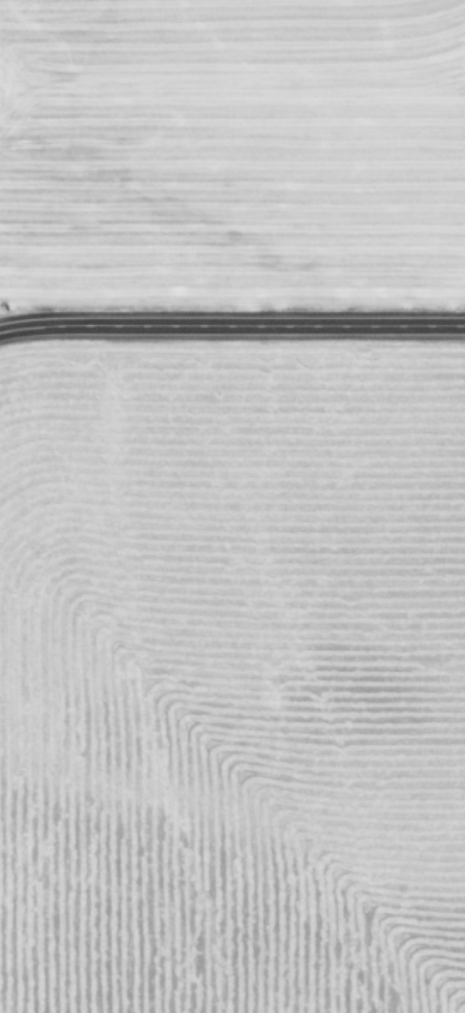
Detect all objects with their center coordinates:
road: (232, 325)
crop: (232, 506)

